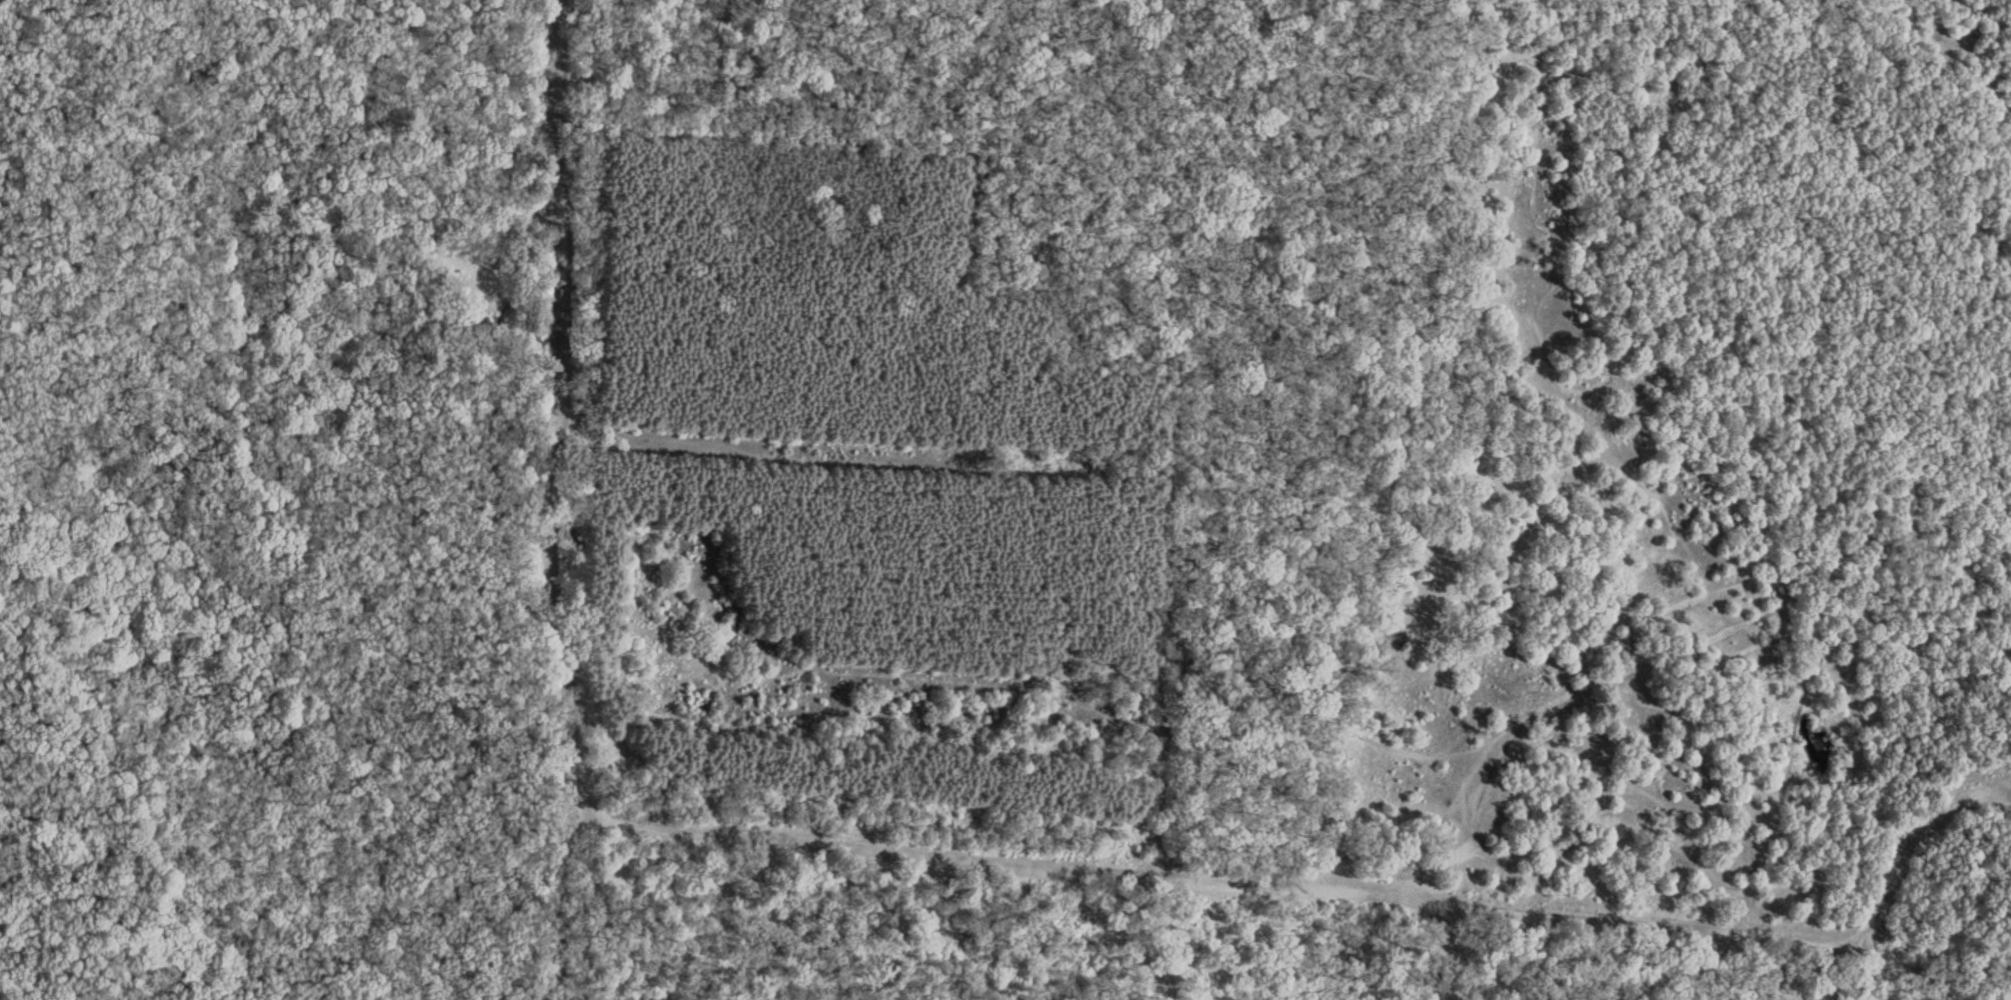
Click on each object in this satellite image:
road: (550, 500)
road: (1287, 832)
road: (1278, 877)

